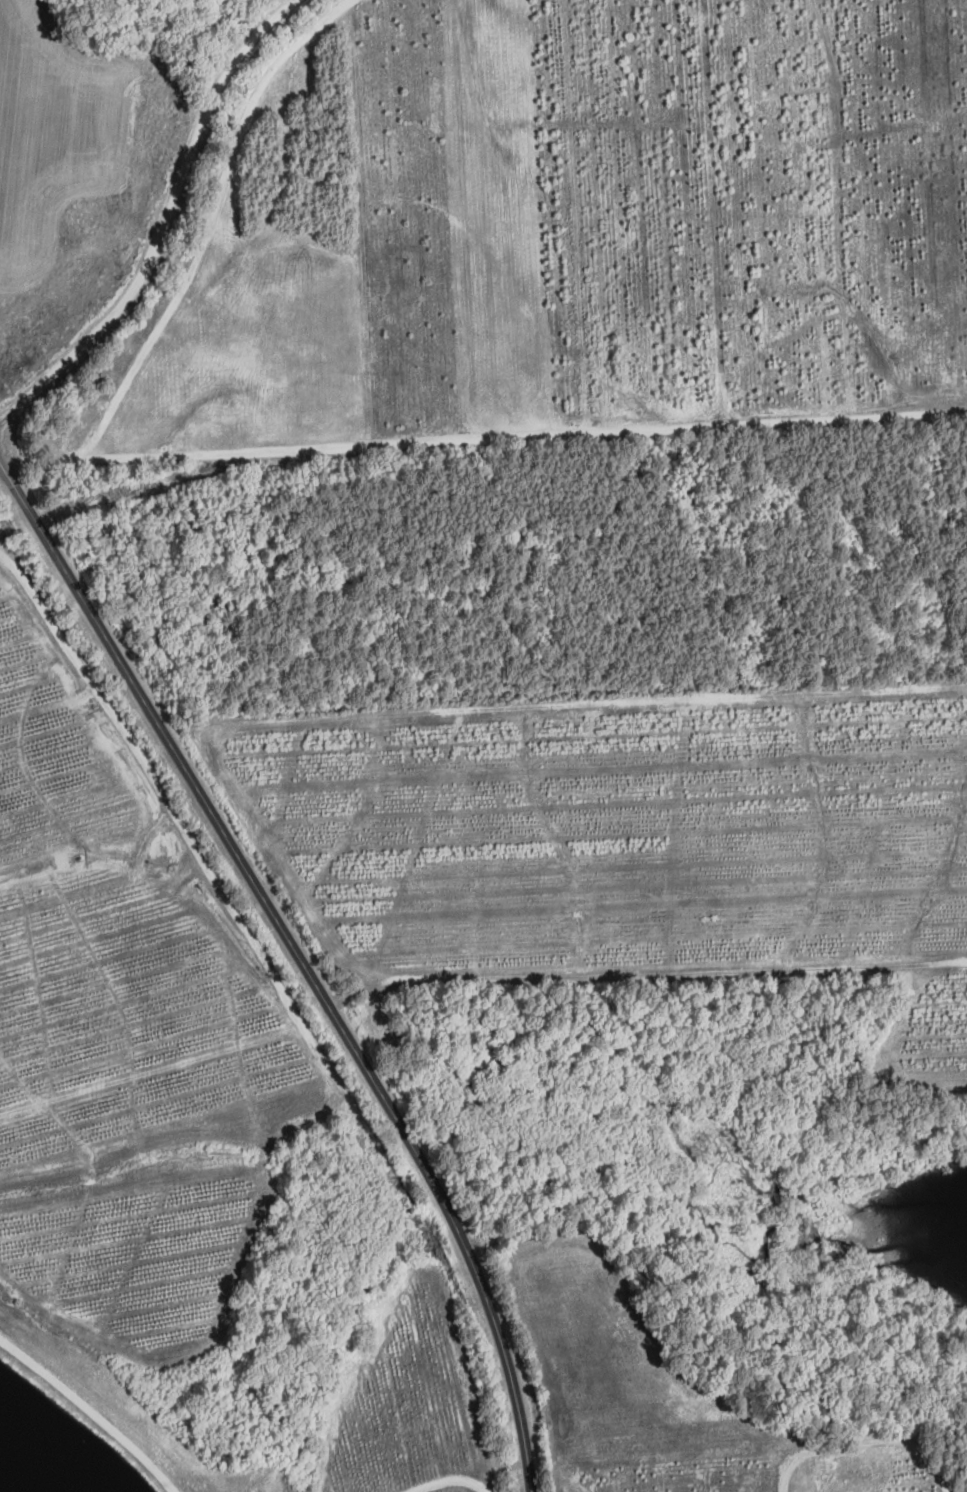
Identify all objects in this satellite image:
road: (167, 222)
road: (300, 963)

